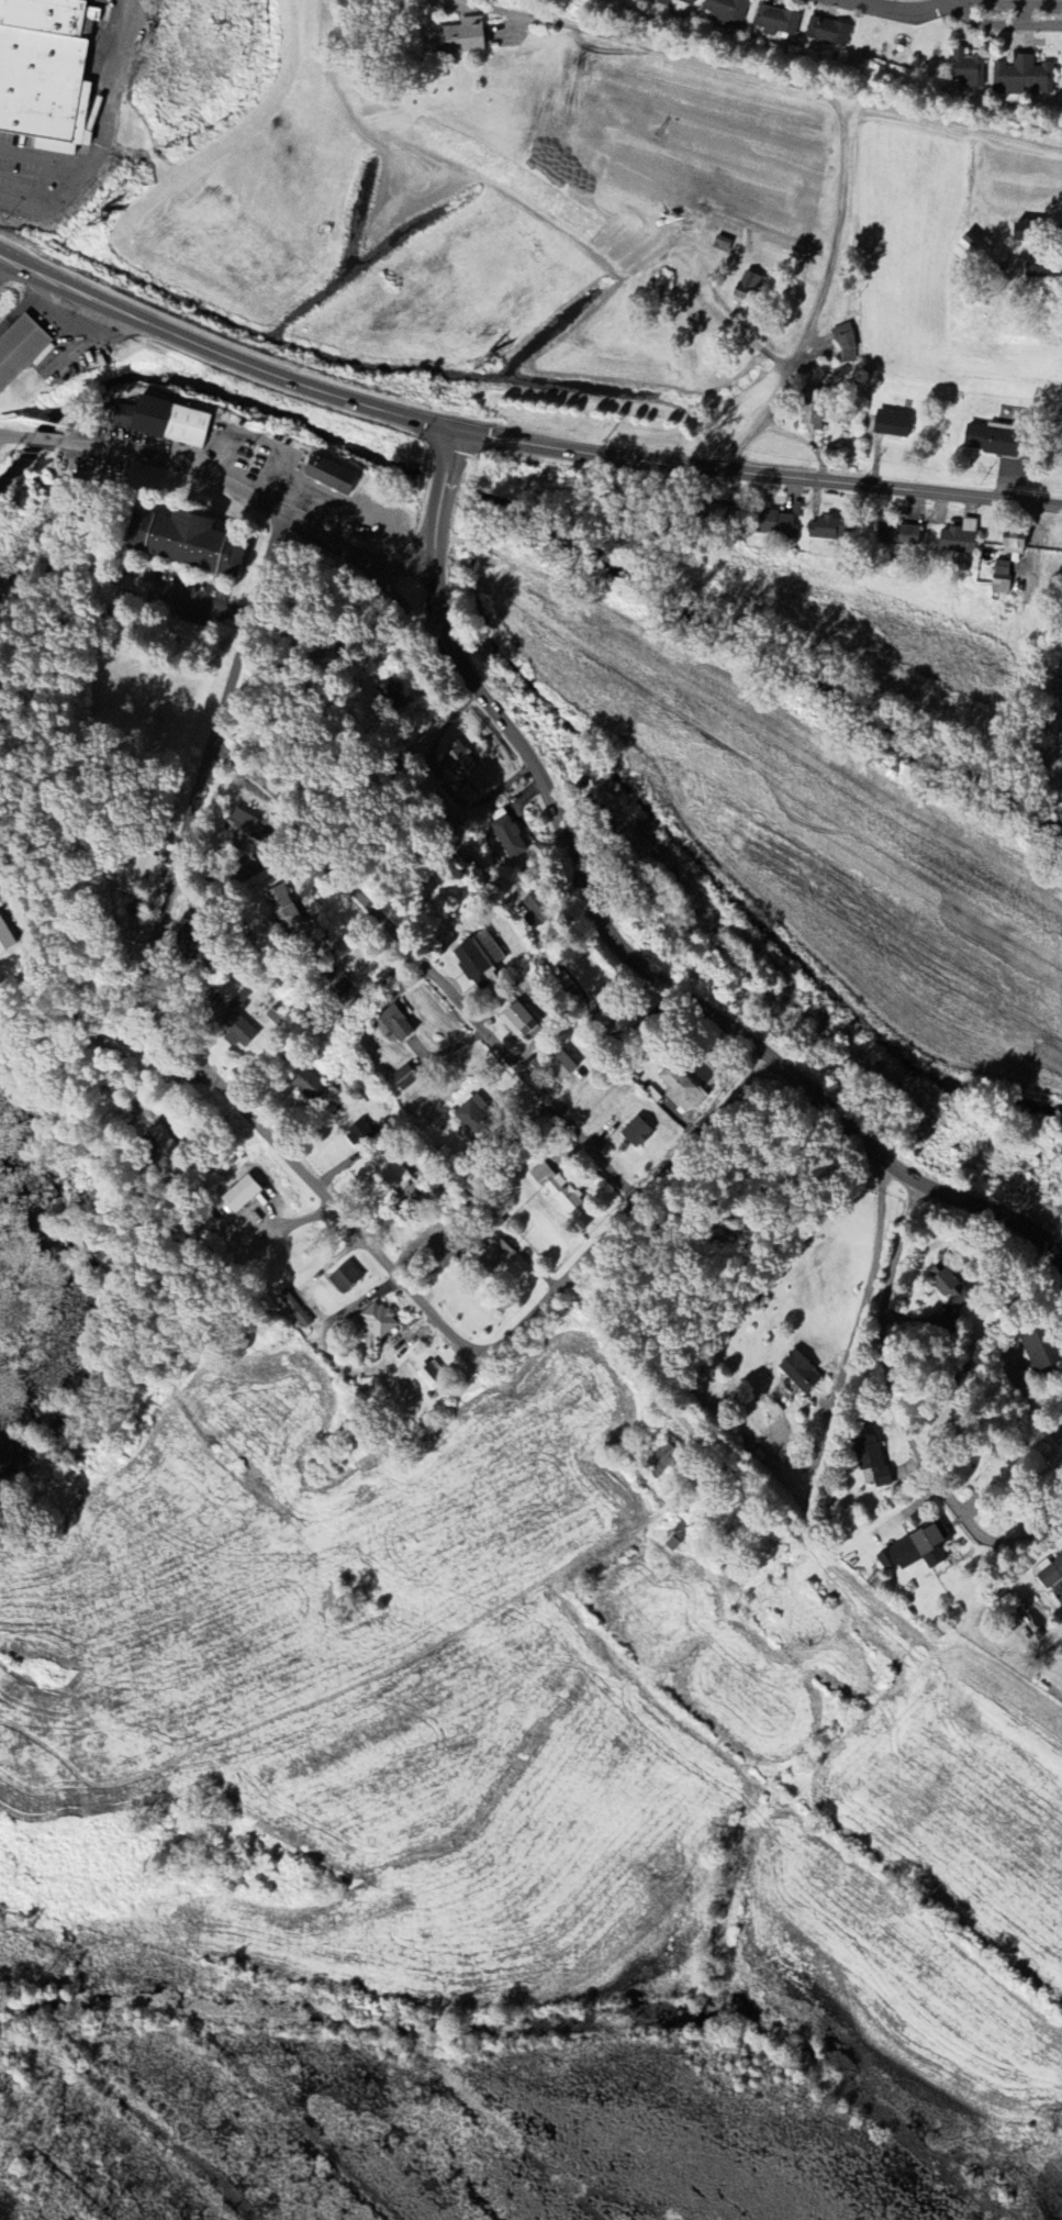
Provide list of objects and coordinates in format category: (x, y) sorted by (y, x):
building: (677, 2)
road: (965, 7)
building: (726, 11)
road: (949, 12)
building: (776, 22)
building: (828, 33)
building: (457, 38)
building: (47, 65)
building: (968, 70)
building: (1021, 78)
road: (785, 82)
building: (1041, 269)
building: (746, 290)
road: (820, 301)
road: (24, 307)
building: (846, 345)
building: (21, 351)
building: (811, 410)
building: (164, 423)
building: (892, 425)
building: (990, 439)
road: (515, 445)
building: (329, 477)
road: (221, 489)
building: (712, 515)
building: (774, 520)
building: (965, 523)
building: (827, 528)
building: (895, 533)
building: (1010, 535)
building: (954, 540)
building: (186, 544)
building: (1002, 571)
building: (997, 581)
road: (189, 599)
building: (392, 697)
building: (458, 761)
building: (244, 834)
building: (508, 839)
building: (131, 874)
building: (281, 907)
building: (5, 939)
road: (614, 945)
building: (479, 961)
road: (426, 973)
building: (338, 985)
building: (278, 1015)
road: (99, 1018)
building: (236, 1022)
building: (517, 1022)
building: (393, 1025)
building: (561, 1067)
building: (405, 1078)
building: (309, 1086)
building: (681, 1090)
building: (473, 1118)
building: (636, 1134)
building: (360, 1135)
road: (273, 1144)
building: (161, 1147)
building: (392, 1174)
building: (556, 1189)
building: (241, 1196)
building: (495, 1258)
building: (345, 1278)
road: (869, 1285)
building: (949, 1289)
building: (293, 1310)
road: (308, 1314)
building: (378, 1321)
building: (1040, 1351)
road: (603, 1363)
building: (800, 1374)
building: (429, 1378)
road: (1037, 1409)
road: (898, 1416)
building: (871, 1461)
building: (915, 1551)
building: (1049, 1573)
power tower: (360, 2095)

